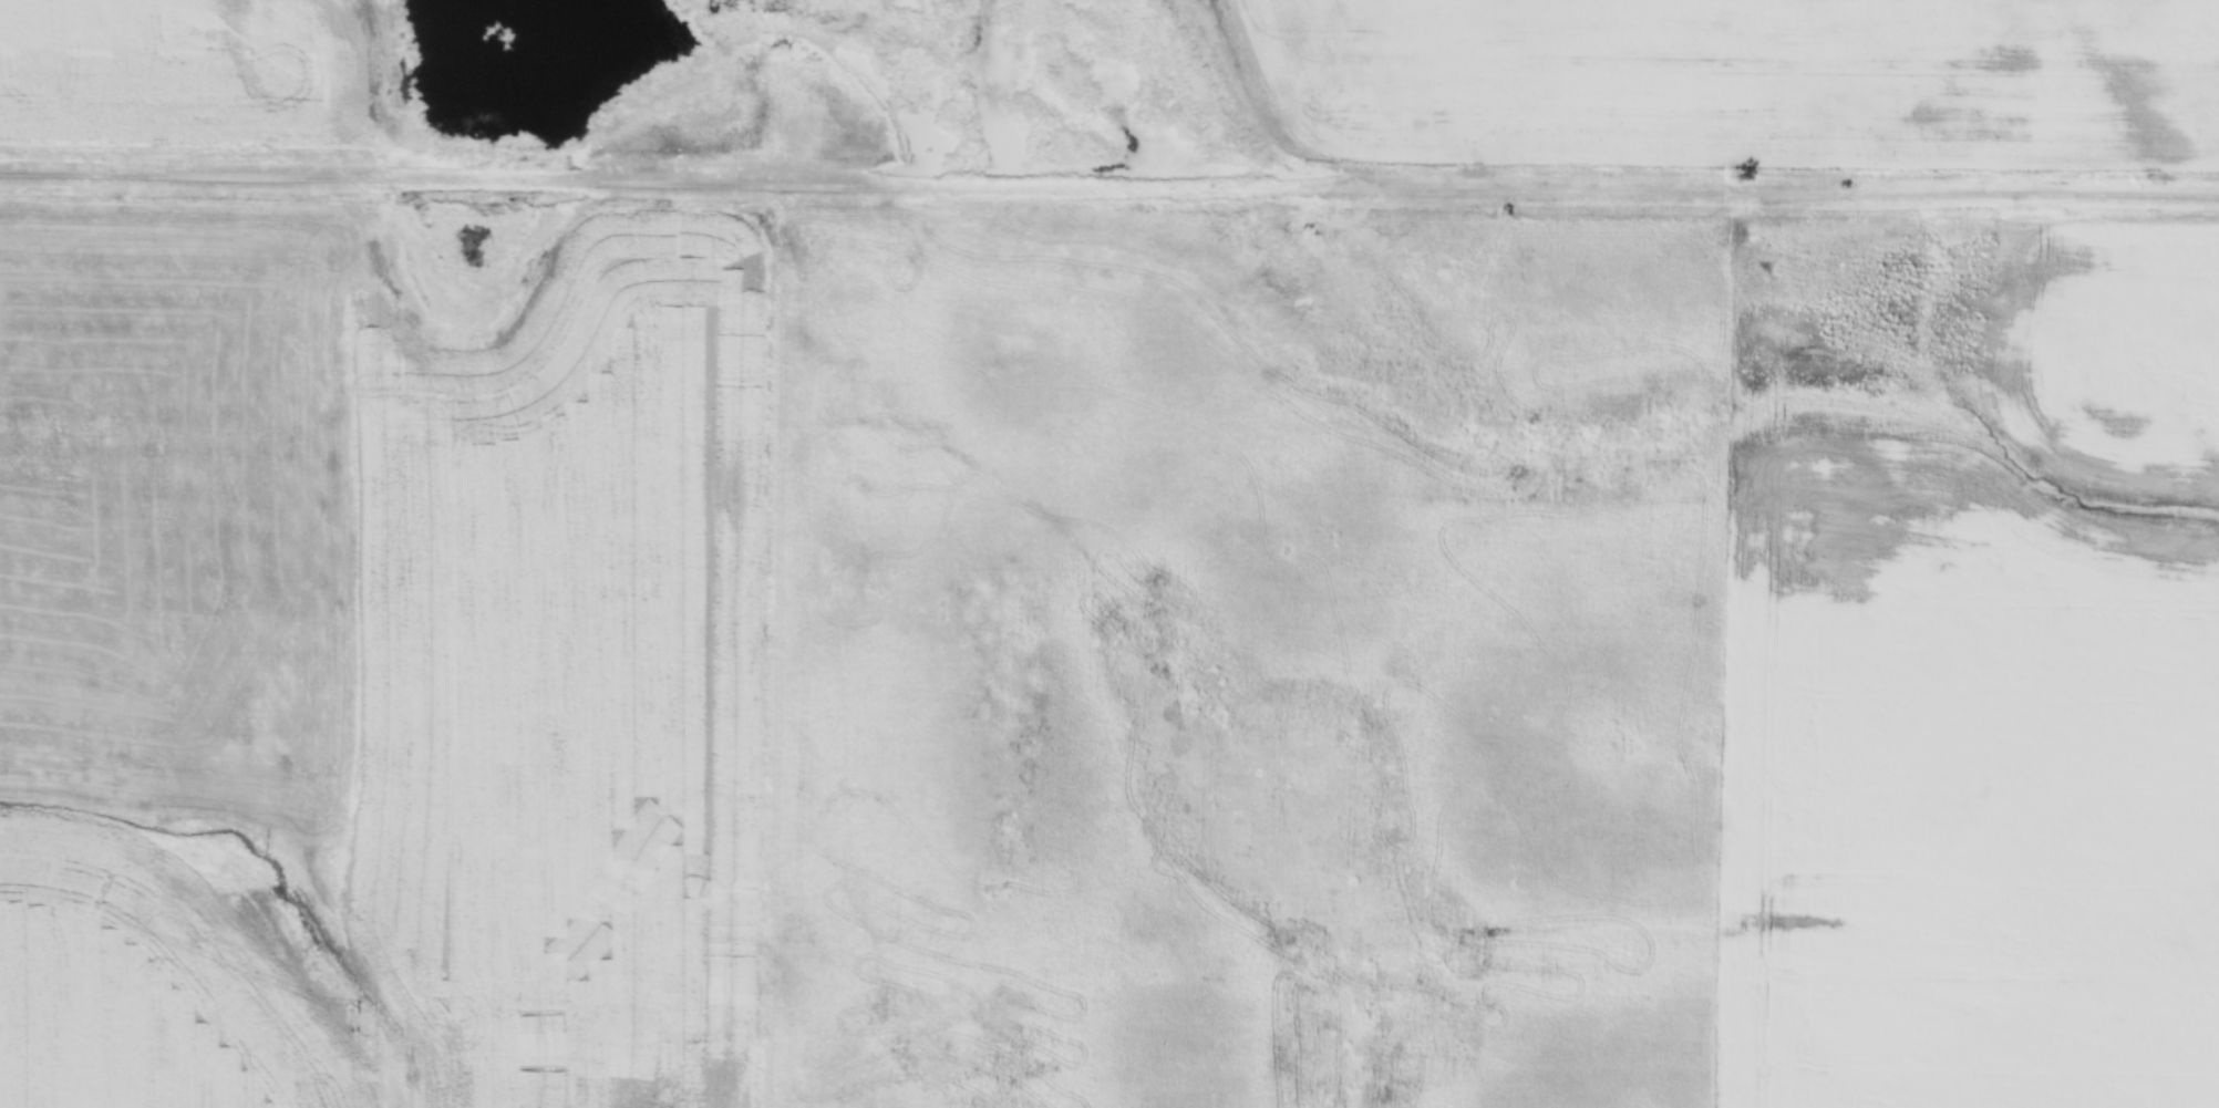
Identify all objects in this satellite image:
road: (1109, 184)

